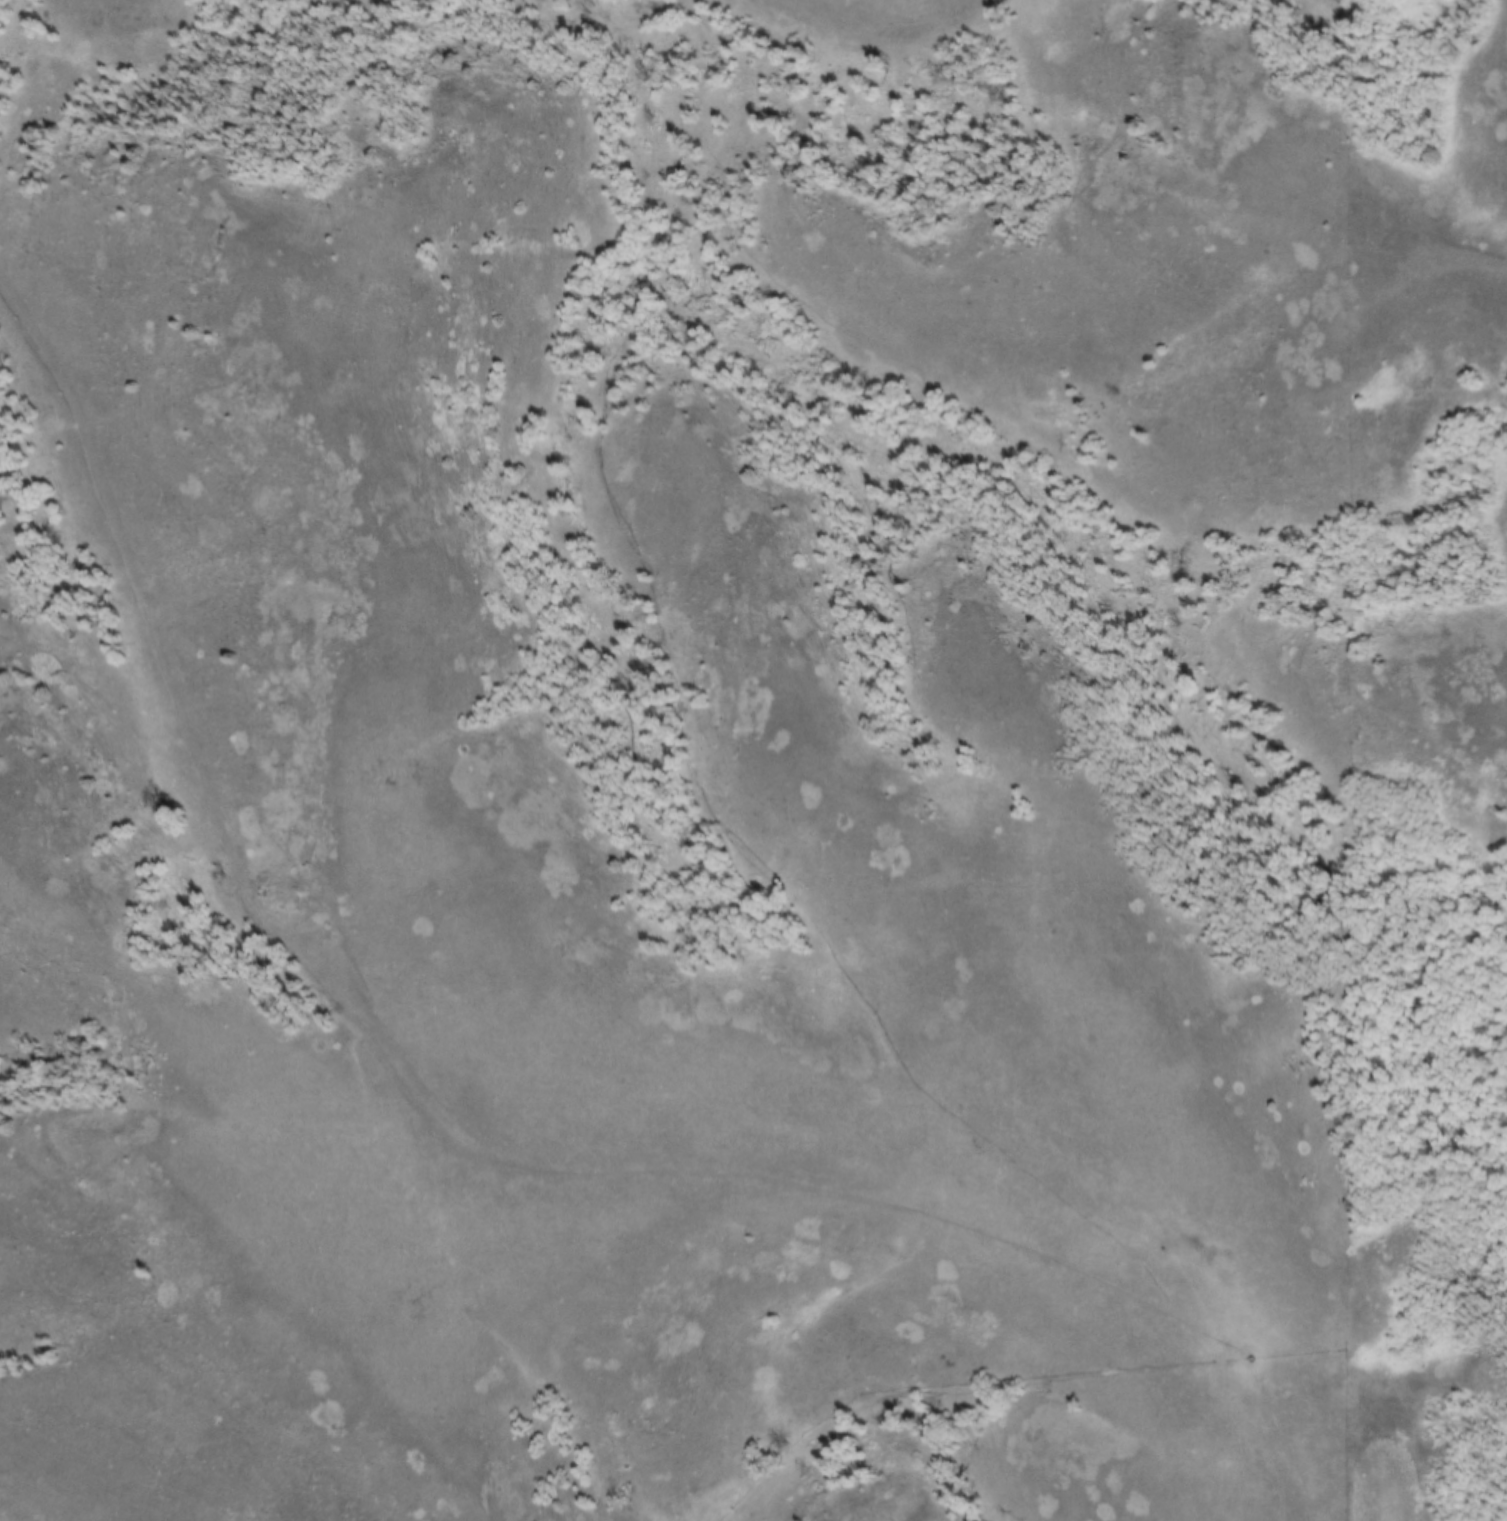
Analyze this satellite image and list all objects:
road: (132, 577)

